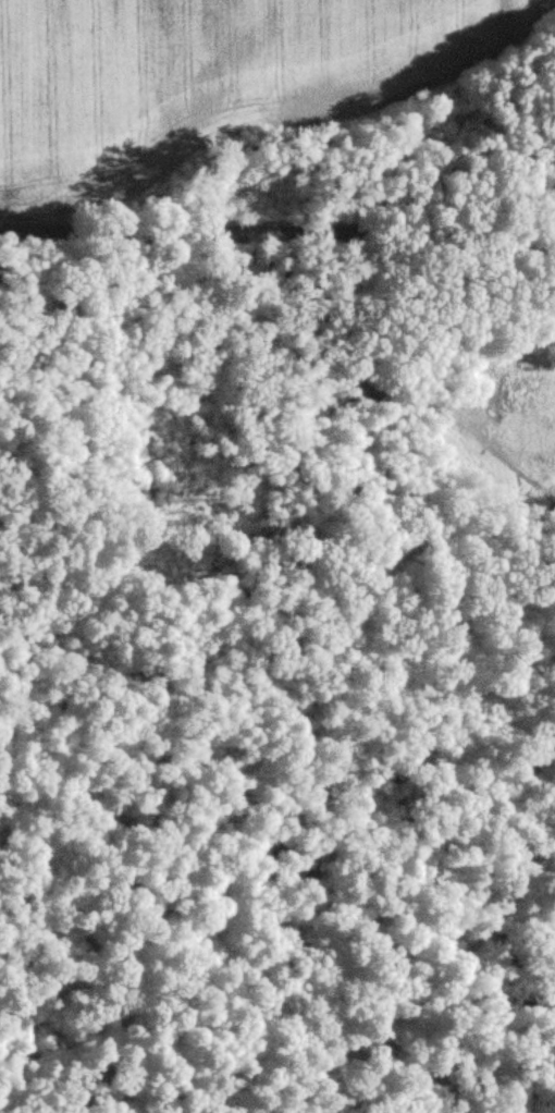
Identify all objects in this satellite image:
road: (277, 232)

